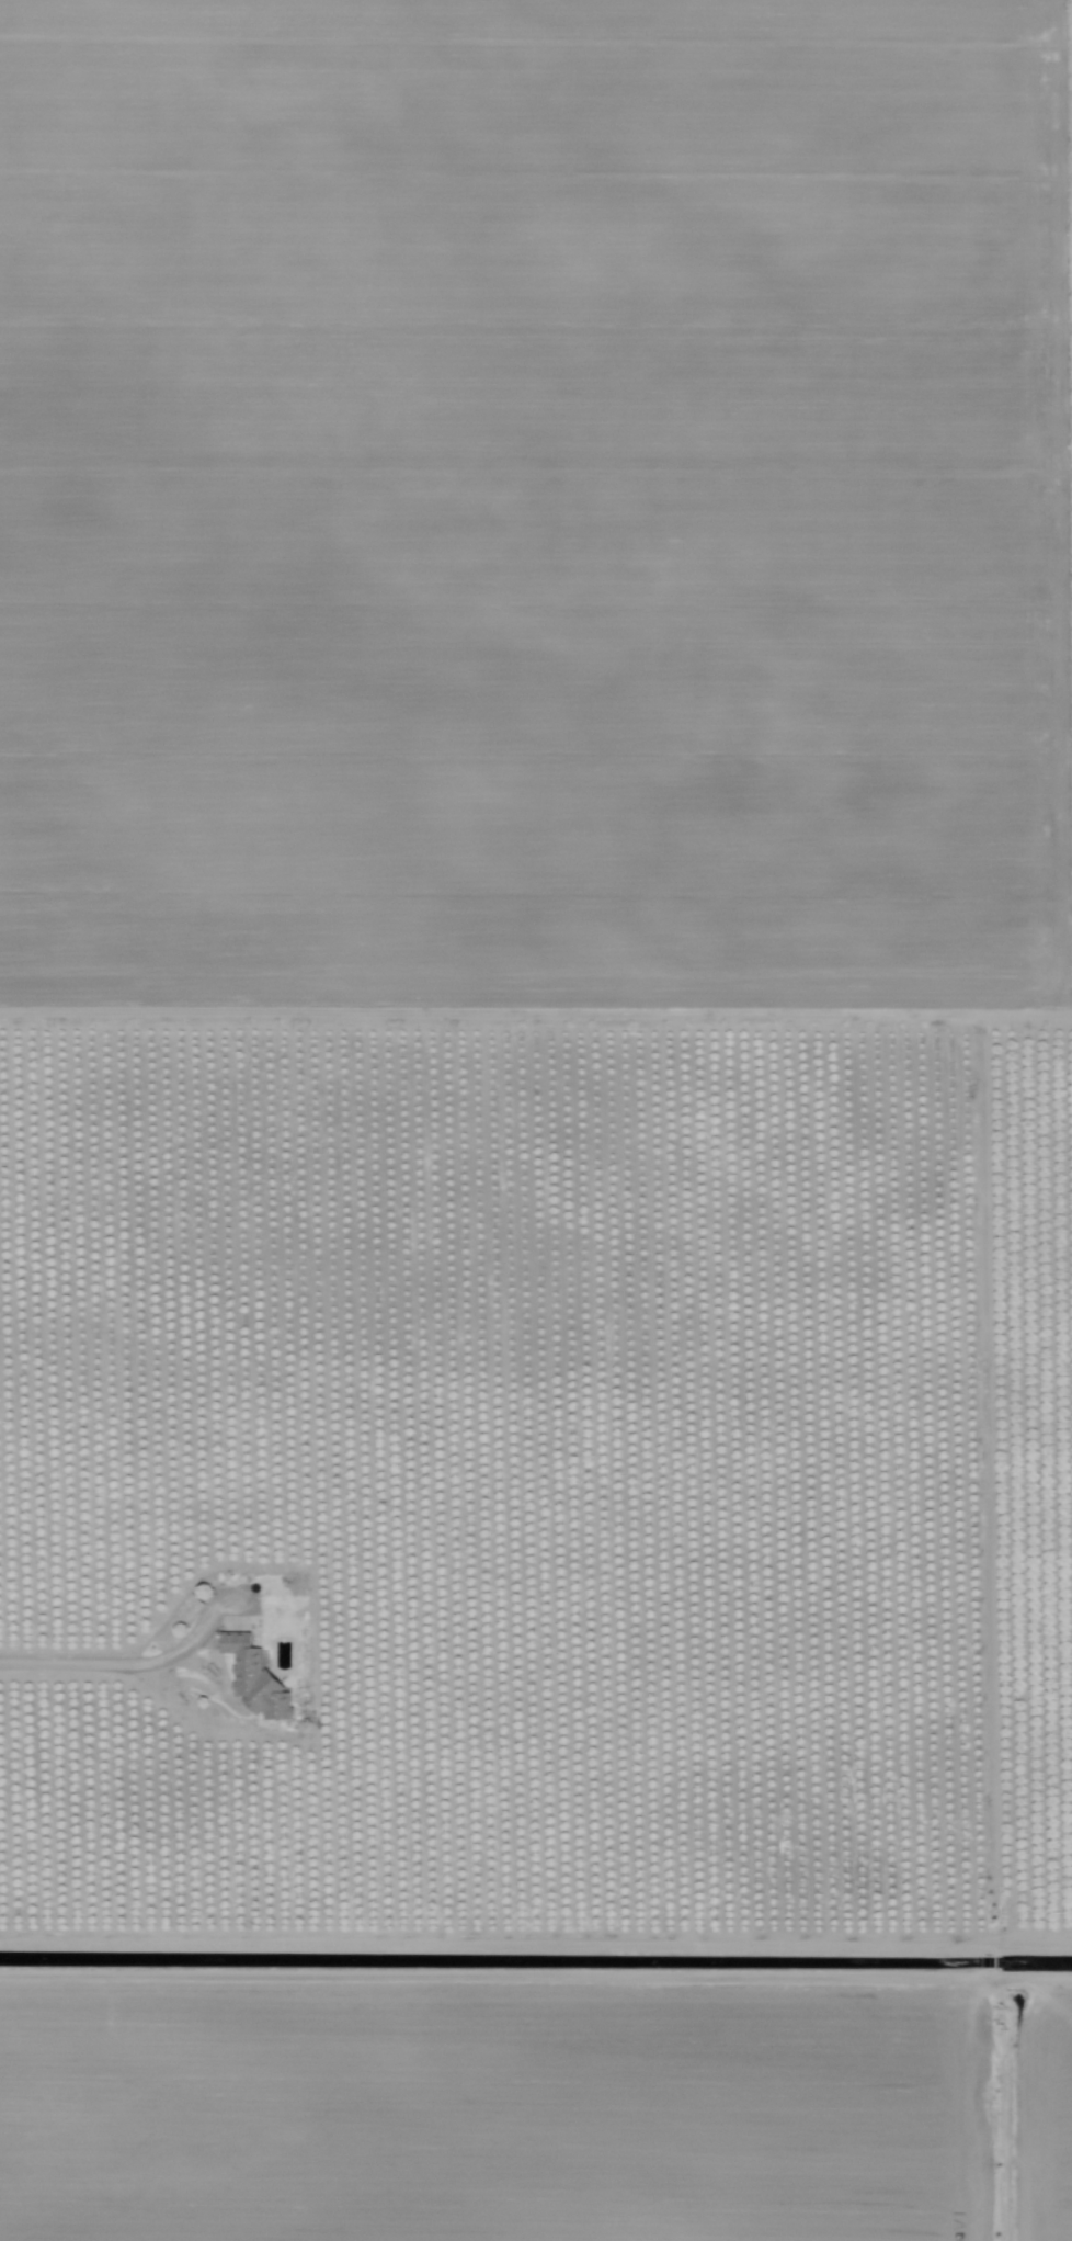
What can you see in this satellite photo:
road: (130, 1657)

